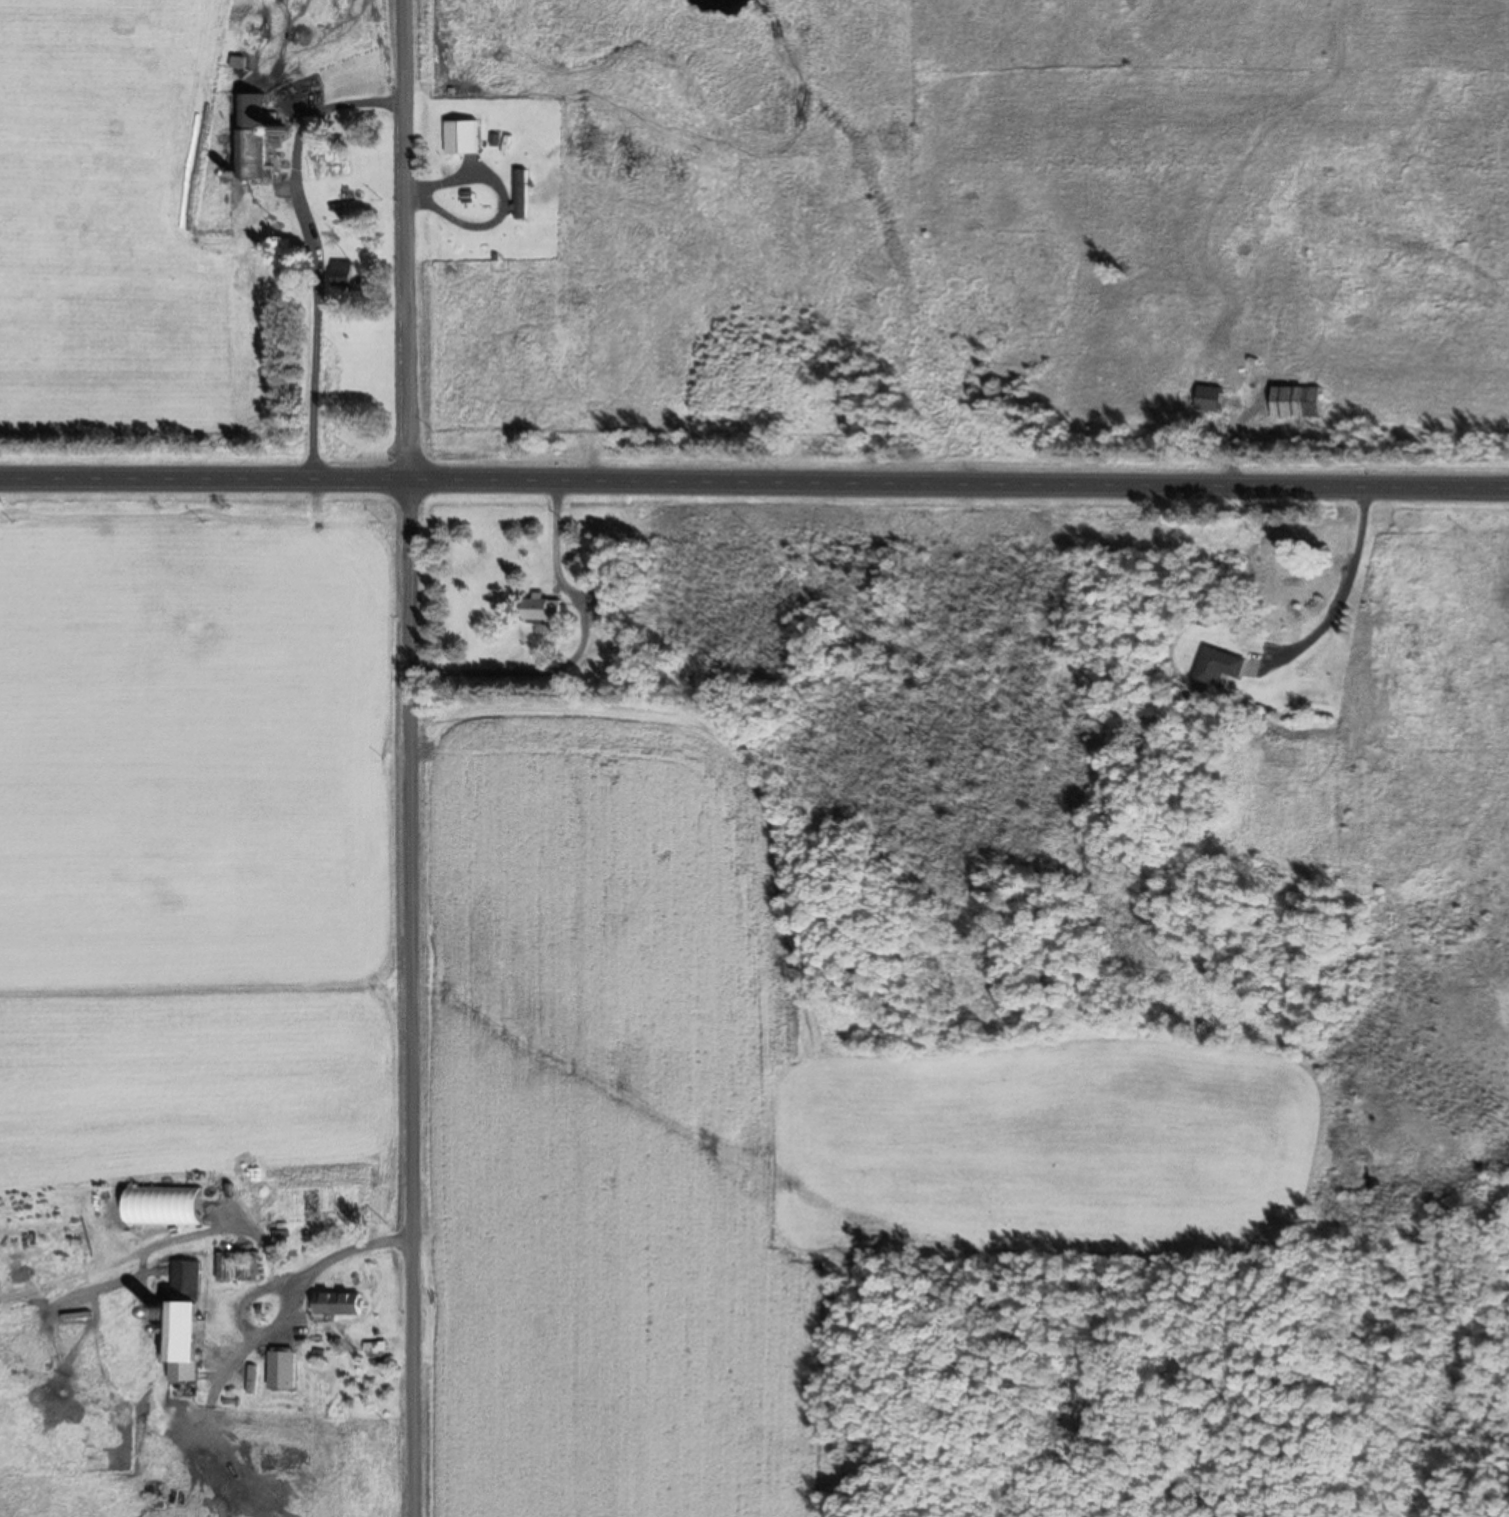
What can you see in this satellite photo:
building: (234, 66)
building: (248, 138)
building: (458, 140)
building: (519, 197)
building: (339, 276)
road: (754, 487)
building: (605, 597)
building: (539, 610)
building: (1221, 670)
road: (409, 758)
building: (161, 1208)
building: (338, 1306)
building: (182, 1324)

